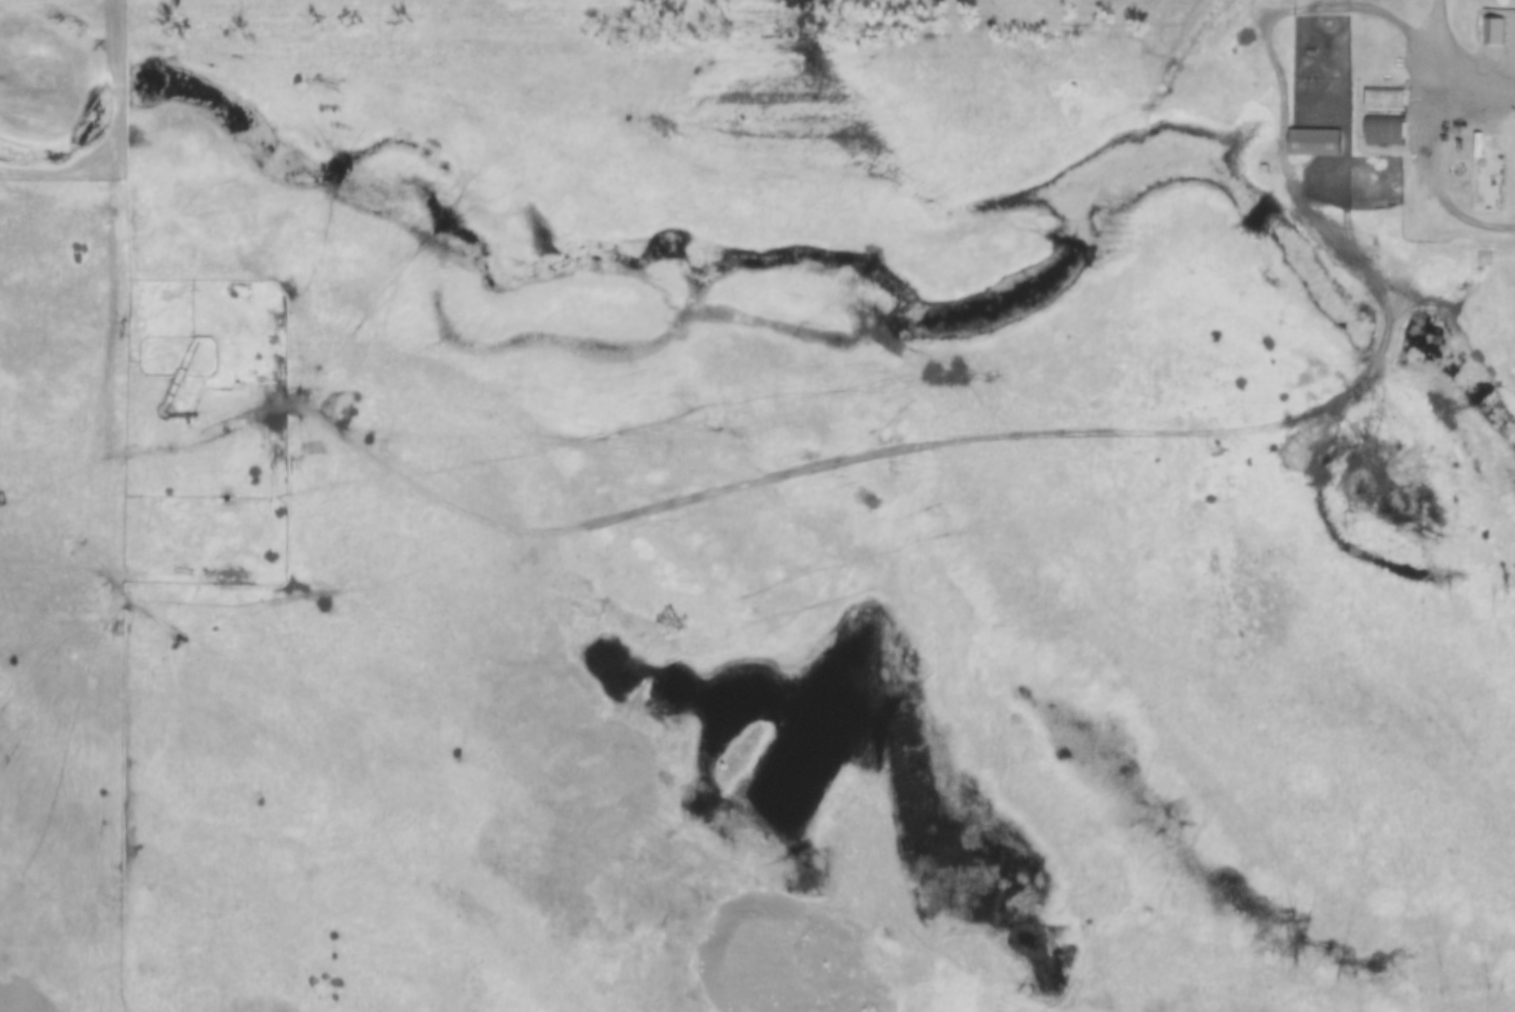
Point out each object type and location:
building: (1495, 29)
road: (1432, 85)
building: (1386, 98)
building: (1386, 128)
building: (1315, 139)
building: (1459, 166)
road: (1466, 209)
road: (116, 297)
road: (1087, 425)
quarry: (17, 962)

